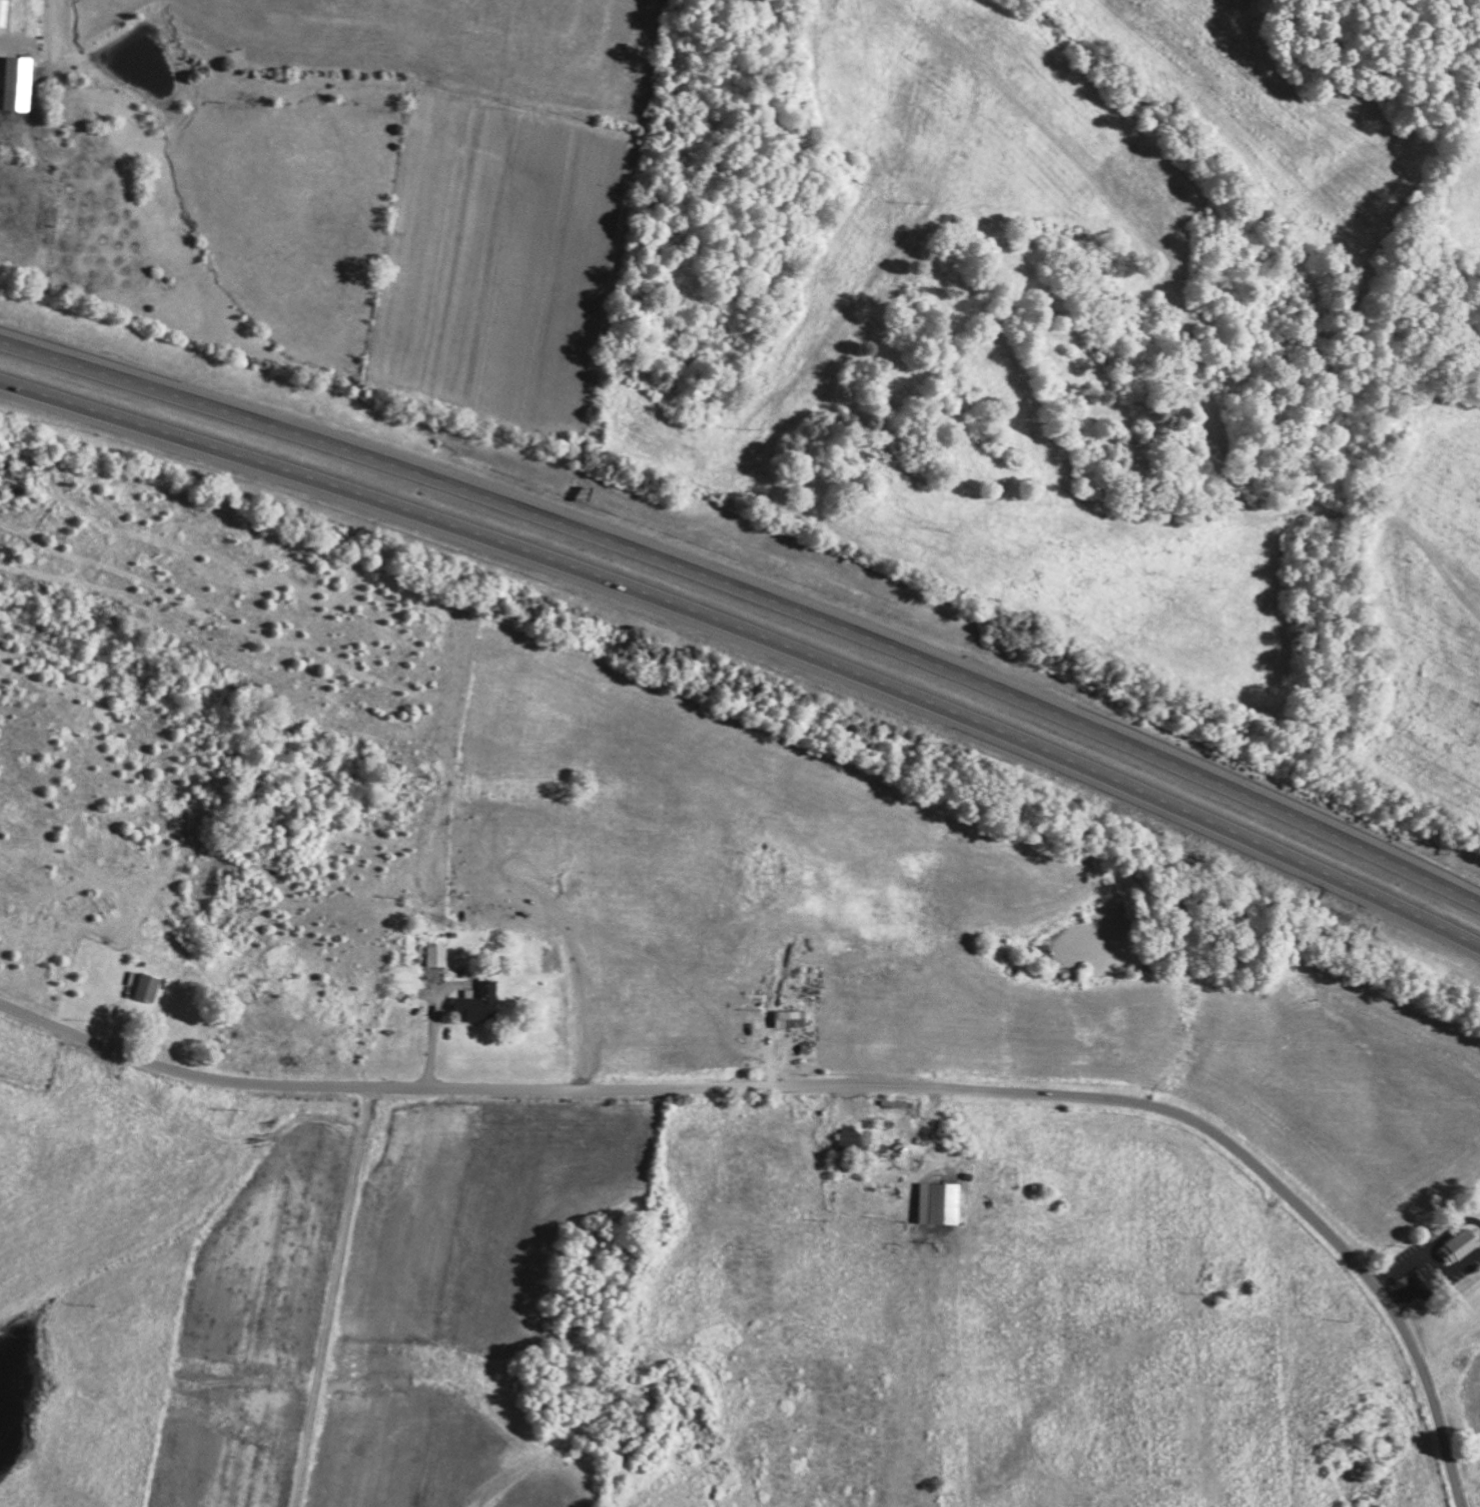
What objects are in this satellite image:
building: (3, 12)
building: (19, 82)
road: (751, 589)
road: (751, 632)
building: (437, 956)
building: (148, 987)
building: (480, 1004)
building: (790, 1019)
road: (833, 1088)
building: (940, 1203)
building: (1460, 1246)

